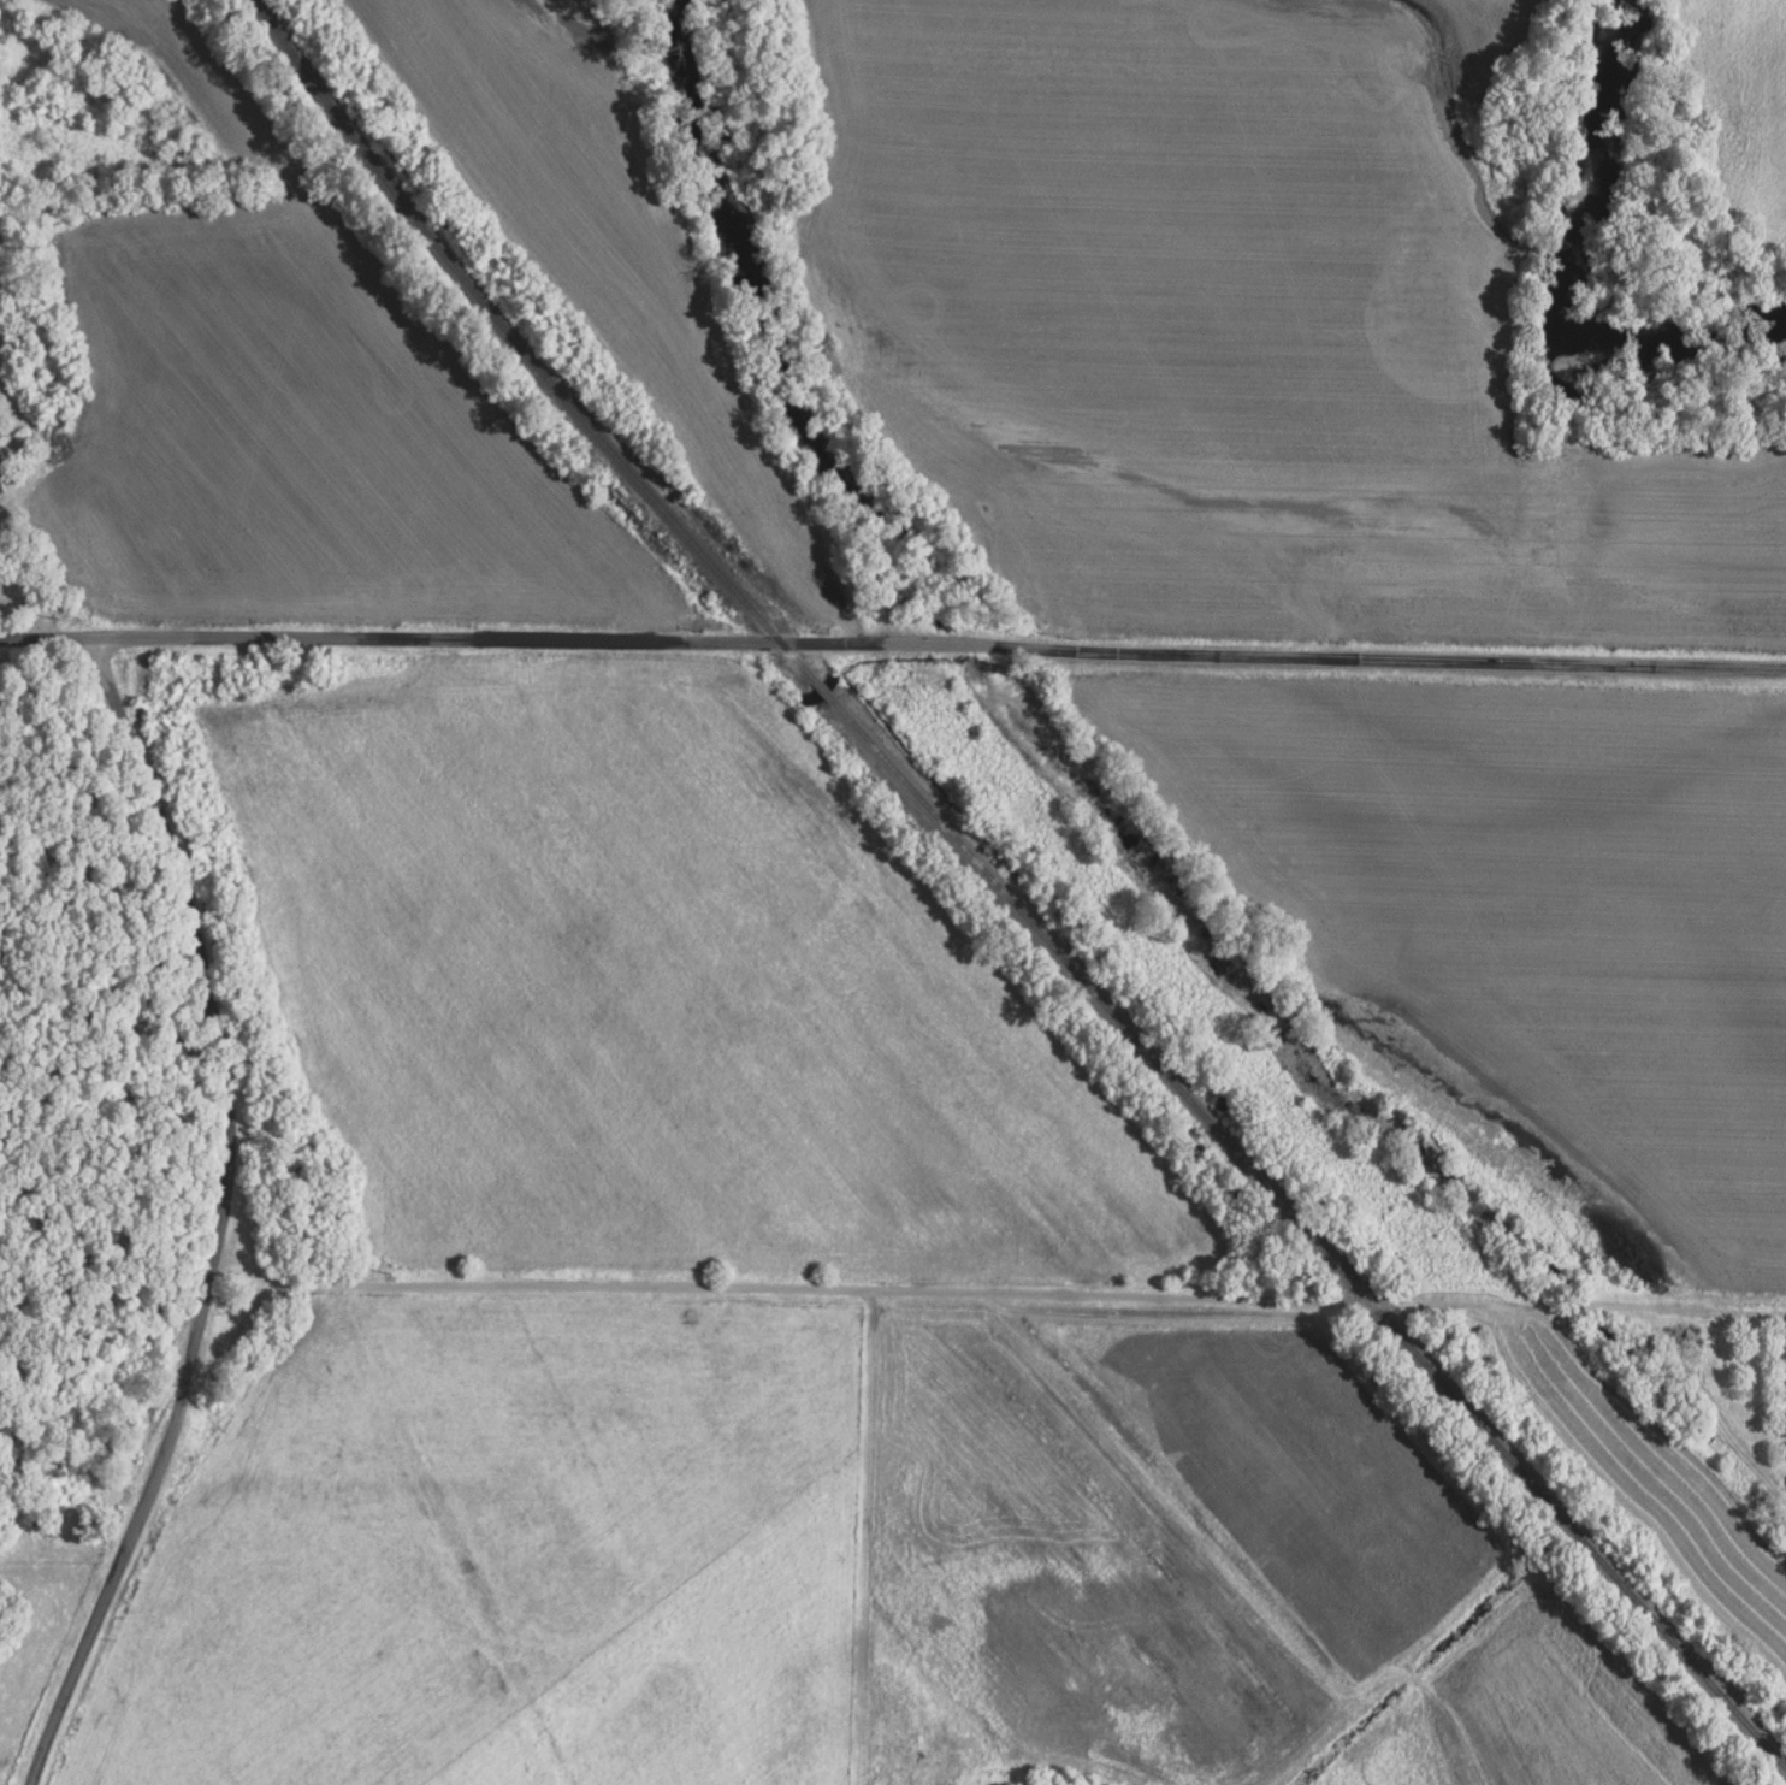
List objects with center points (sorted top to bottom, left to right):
railway: (520, 350)
road: (893, 640)
railway: (820, 692)
road: (227, 1213)
railway: (1305, 1237)

